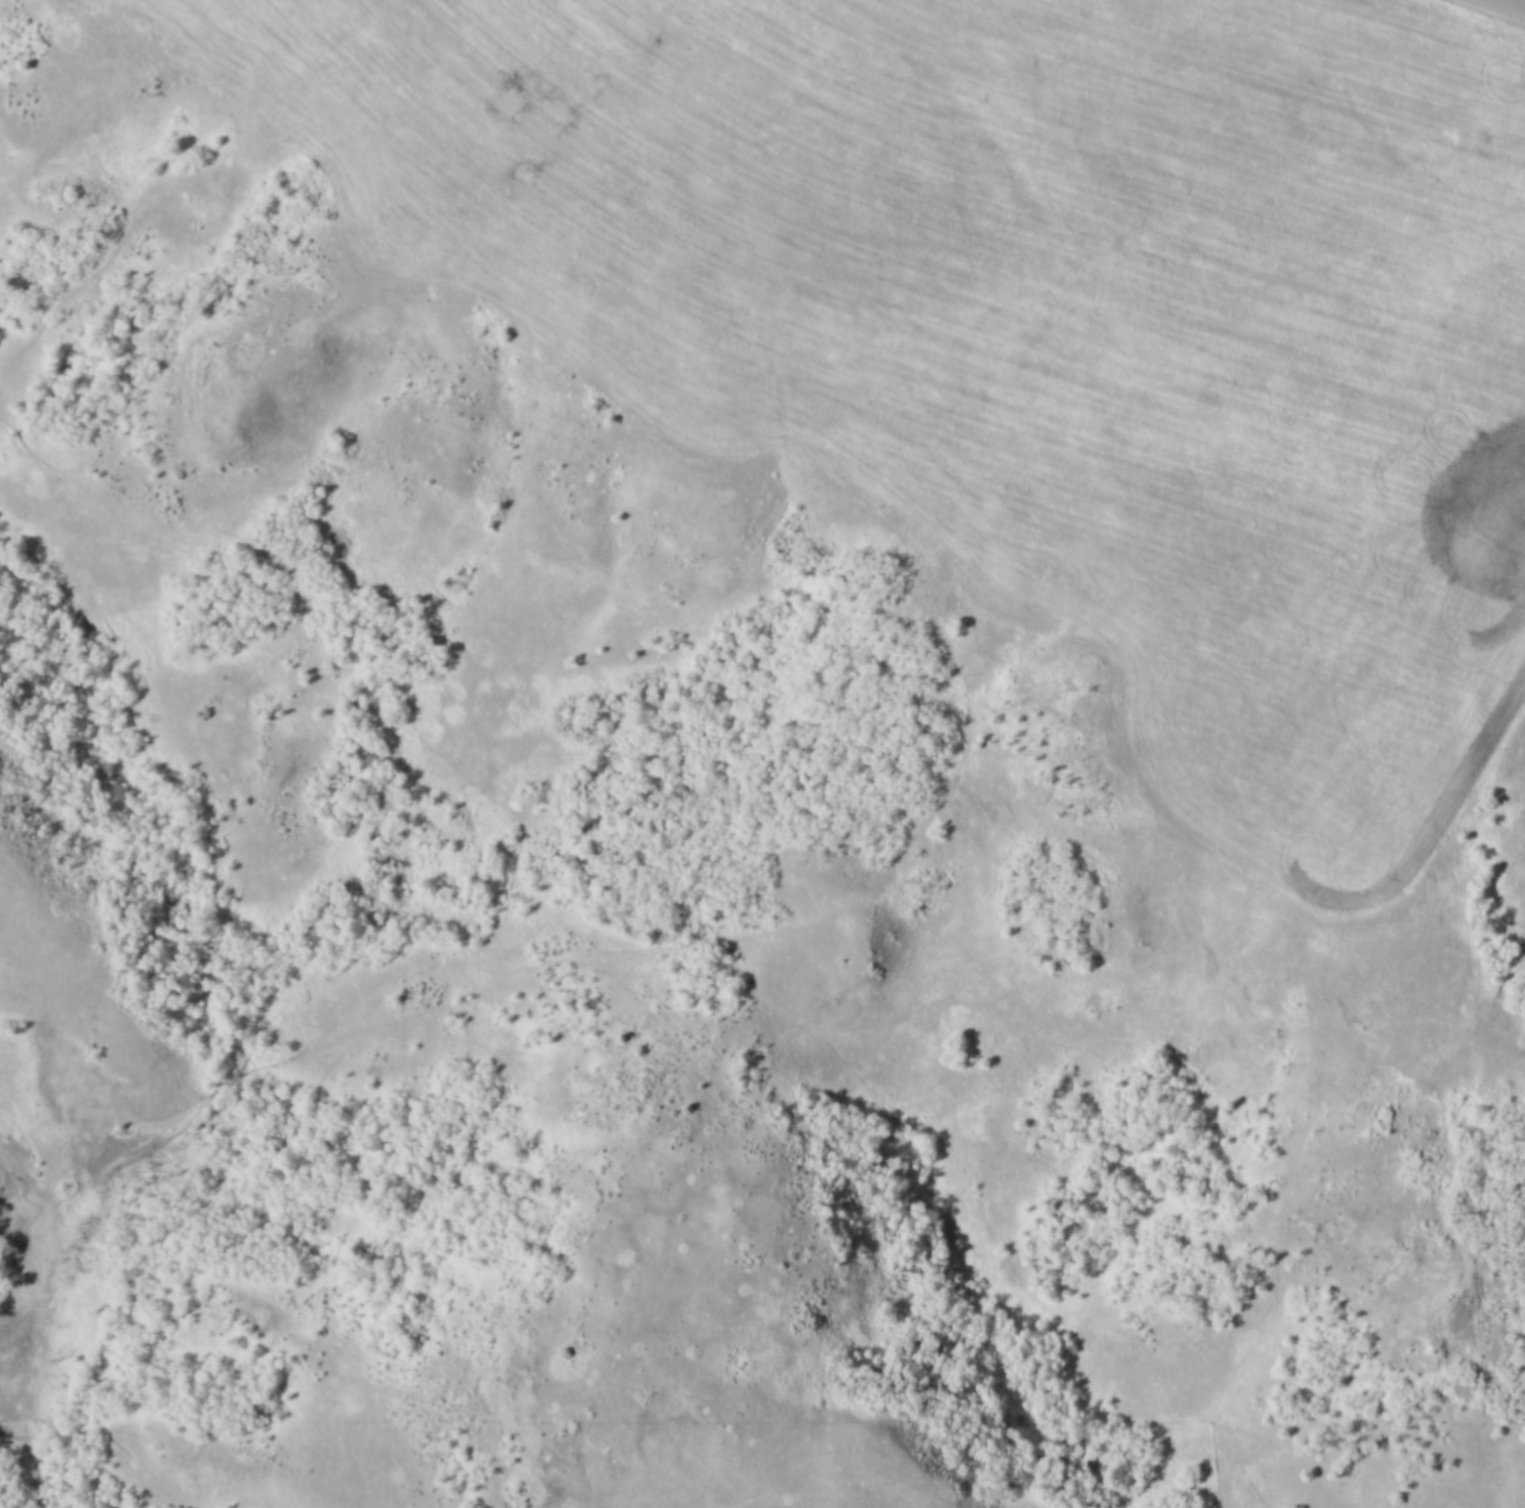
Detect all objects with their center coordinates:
road: (1503, 7)

